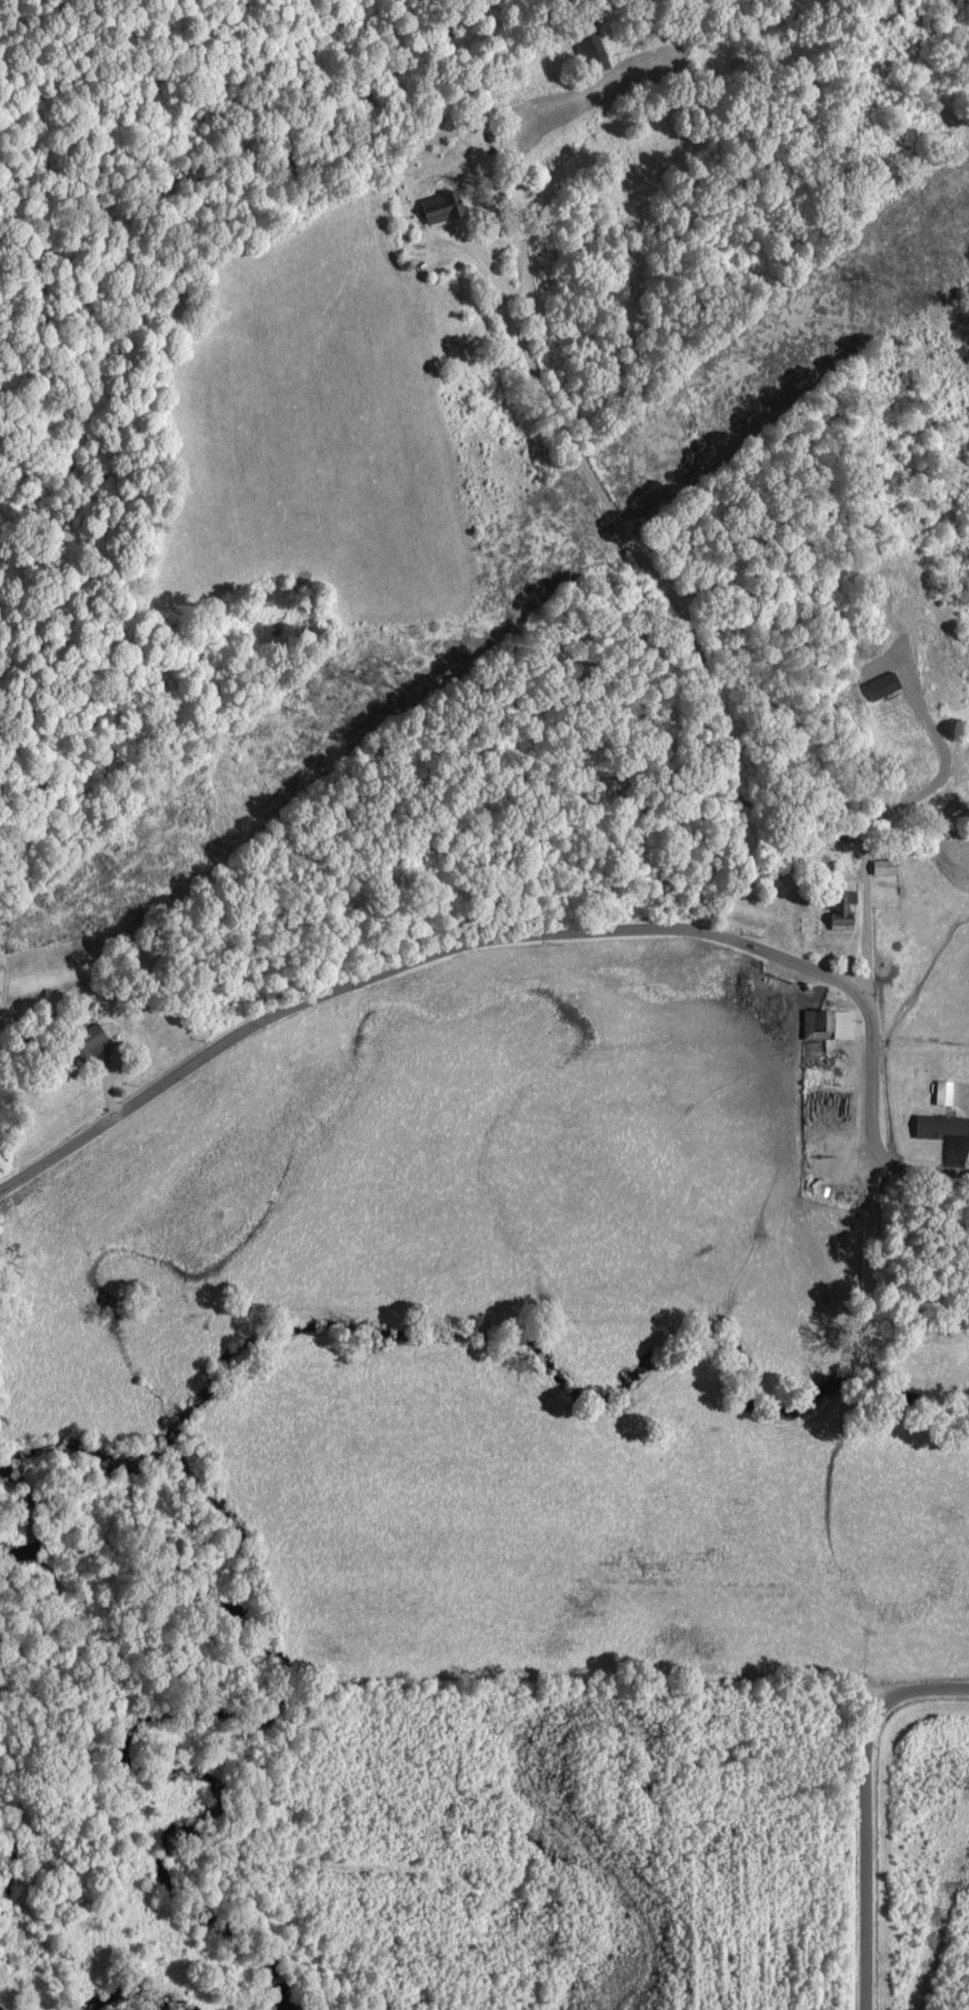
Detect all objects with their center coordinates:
building: (445, 206)
power tower: (877, 276)
road: (683, 639)
power tower: (374, 678)
building: (885, 683)
building: (888, 863)
building: (843, 918)
road: (410, 961)
building: (92, 1041)
building: (946, 1091)
road: (870, 1121)
building: (941, 1124)
road: (862, 1806)

